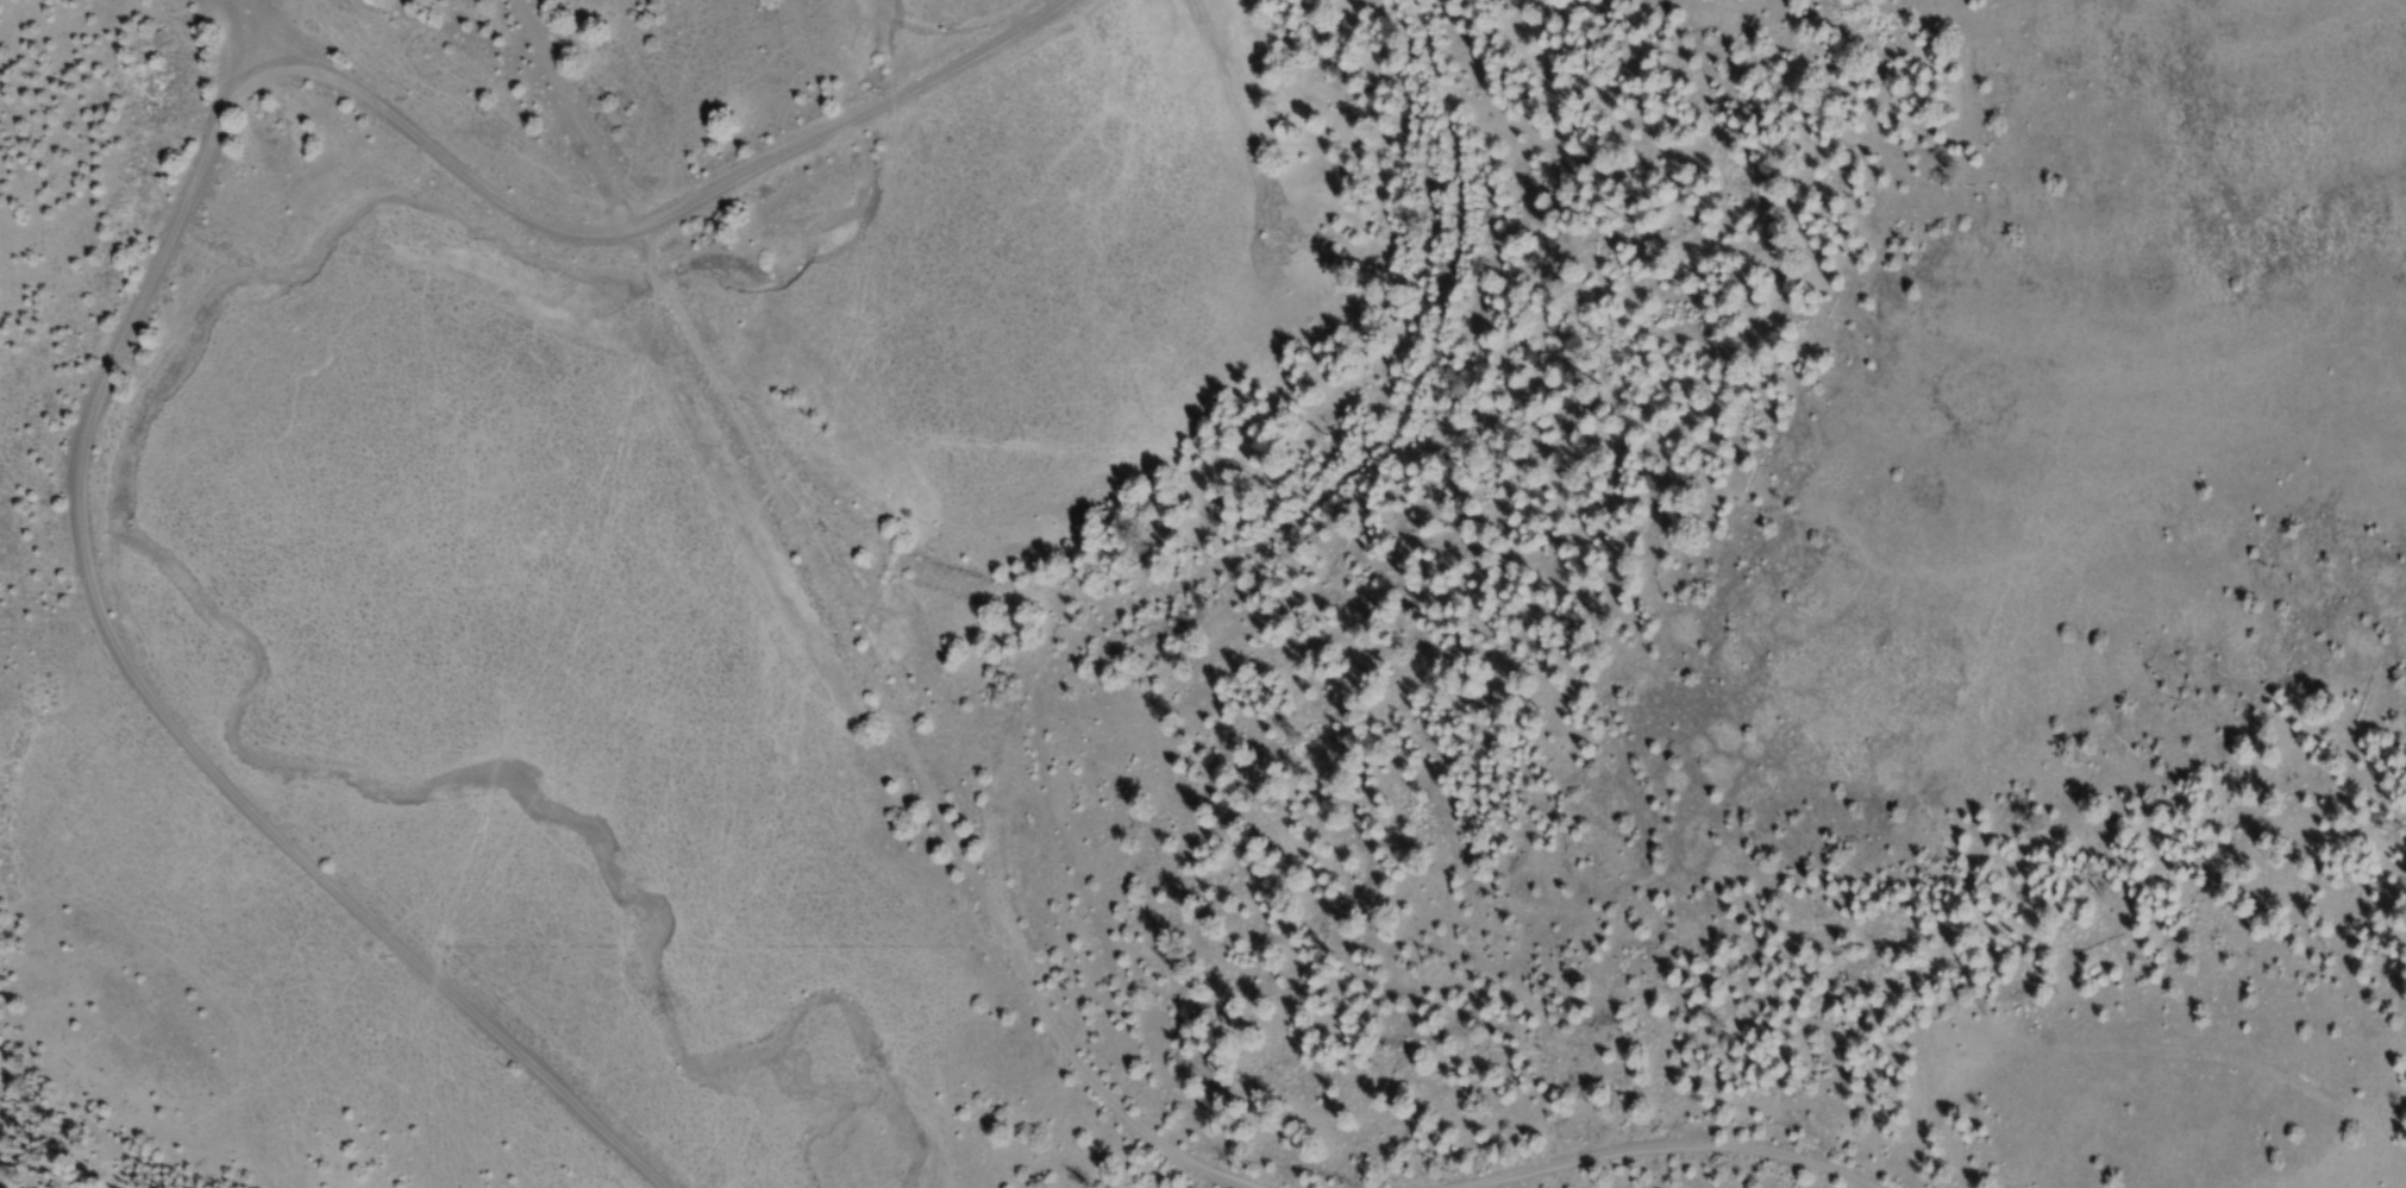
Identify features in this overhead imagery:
road: (276, 30)
road: (143, 290)

